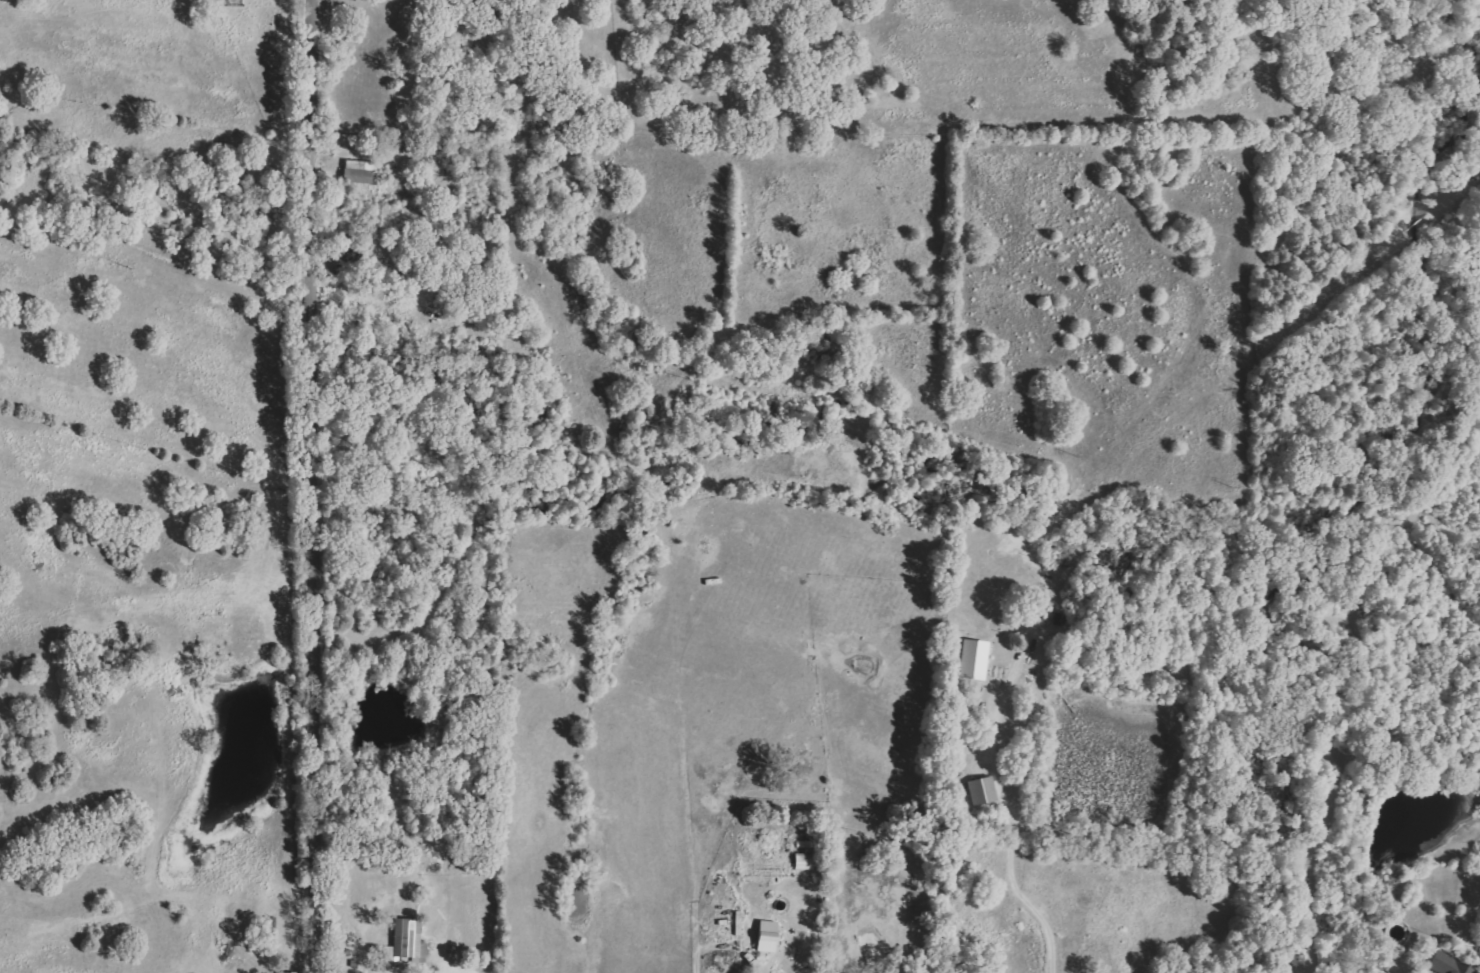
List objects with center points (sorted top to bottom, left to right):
building: (362, 172)
road: (313, 486)
building: (972, 659)
building: (982, 790)
building: (804, 862)
road: (1033, 904)
building: (738, 923)
building: (411, 936)
building: (766, 936)
road: (694, 940)
building: (1478, 958)
building: (1446, 964)
building: (288, 972)

